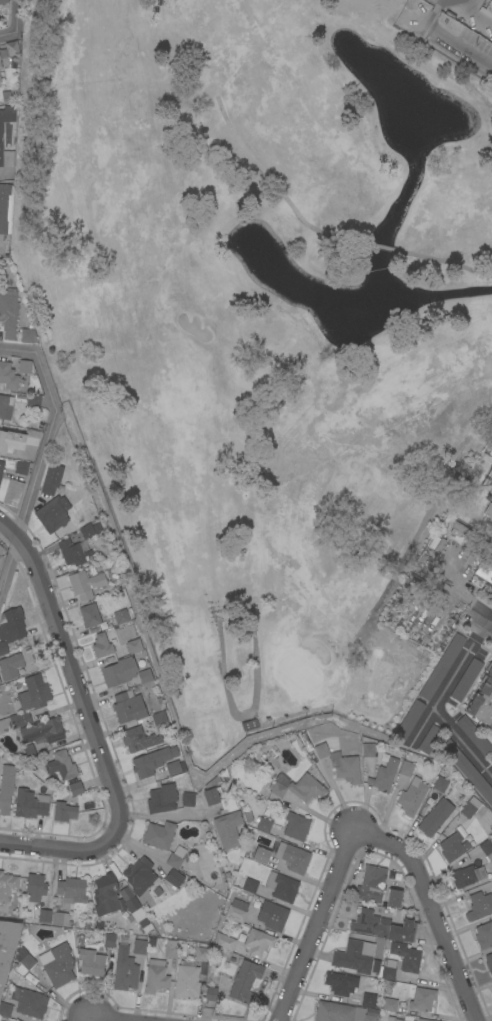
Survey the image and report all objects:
building: (3, 1)
building: (431, 1)
building: (490, 3)
road: (15, 16)
road: (7, 34)
road: (447, 38)
building: (12, 48)
building: (0, 65)
building: (0, 80)
building: (1, 149)
road: (276, 186)
building: (5, 208)
road: (377, 247)
road: (441, 260)
building: (8, 312)
building: (26, 335)
park: (270, 338)
building: (24, 366)
building: (8, 376)
building: (33, 400)
building: (5, 407)
building: (17, 440)
building: (489, 443)
building: (490, 452)
road: (41, 456)
building: (1, 467)
building: (21, 468)
building: (51, 478)
building: (13, 492)
building: (488, 510)
building: (53, 513)
building: (87, 530)
building: (74, 553)
building: (1, 554)
building: (485, 568)
building: (85, 584)
building: (92, 613)
building: (121, 616)
road: (482, 616)
building: (10, 627)
building: (133, 645)
building: (102, 646)
road: (460, 661)
building: (10, 666)
building: (442, 666)
road: (73, 670)
building: (119, 671)
building: (146, 675)
building: (466, 679)
building: (34, 693)
building: (482, 699)
building: (128, 706)
road: (249, 713)
building: (408, 720)
building: (14, 721)
building: (160, 722)
building: (249, 724)
road: (422, 724)
building: (43, 731)
building: (474, 735)
building: (138, 739)
building: (429, 739)
road: (463, 739)
building: (368, 750)
building: (27, 751)
building: (491, 760)
building: (149, 762)
building: (340, 763)
building: (61, 765)
building: (173, 768)
building: (406, 768)
building: (468, 770)
building: (384, 776)
building: (440, 783)
building: (306, 787)
building: (6, 788)
building: (76, 788)
building: (277, 789)
building: (211, 796)
building: (411, 797)
building: (161, 798)
building: (187, 799)
building: (30, 803)
building: (469, 807)
building: (64, 811)
building: (435, 817)
building: (263, 824)
building: (296, 826)
building: (228, 829)
building: (159, 835)
building: (453, 846)
road: (62, 849)
building: (483, 849)
building: (261, 856)
building: (175, 857)
building: (295, 858)
building: (139, 875)
building: (470, 875)
building: (174, 878)
building: (371, 883)
building: (7, 885)
building: (250, 885)
building: (281, 886)
building: (35, 887)
building: (70, 891)
building: (126, 893)
building: (105, 895)
building: (393, 898)
building: (131, 904)
building: (479, 906)
road: (432, 907)
building: (235, 910)
building: (138, 914)
building: (44, 915)
building: (272, 915)
building: (60, 918)
building: (143, 922)
building: (87, 925)
road: (321, 925)
building: (383, 927)
building: (484, 935)
building: (364, 937)
building: (80, 939)
building: (109, 940)
building: (224, 941)
building: (254, 943)
building: (7, 946)
building: (139, 946)
building: (171, 948)
building: (201, 954)
building: (406, 956)
building: (25, 959)
building: (355, 959)
building: (90, 962)
building: (489, 962)
building: (57, 966)
building: (388, 969)
building: (125, 973)
building: (156, 976)
building: (187, 980)
building: (245, 981)
building: (340, 983)
building: (211, 993)
building: (368, 999)
building: (423, 999)
building: (29, 1002)
building: (389, 1004)
building: (5, 1009)
building: (372, 1011)
building: (333, 1012)
building: (368, 1017)
building: (393, 1019)
road: (87, 1020)
road: (96, 1020)
building: (424, 1020)

